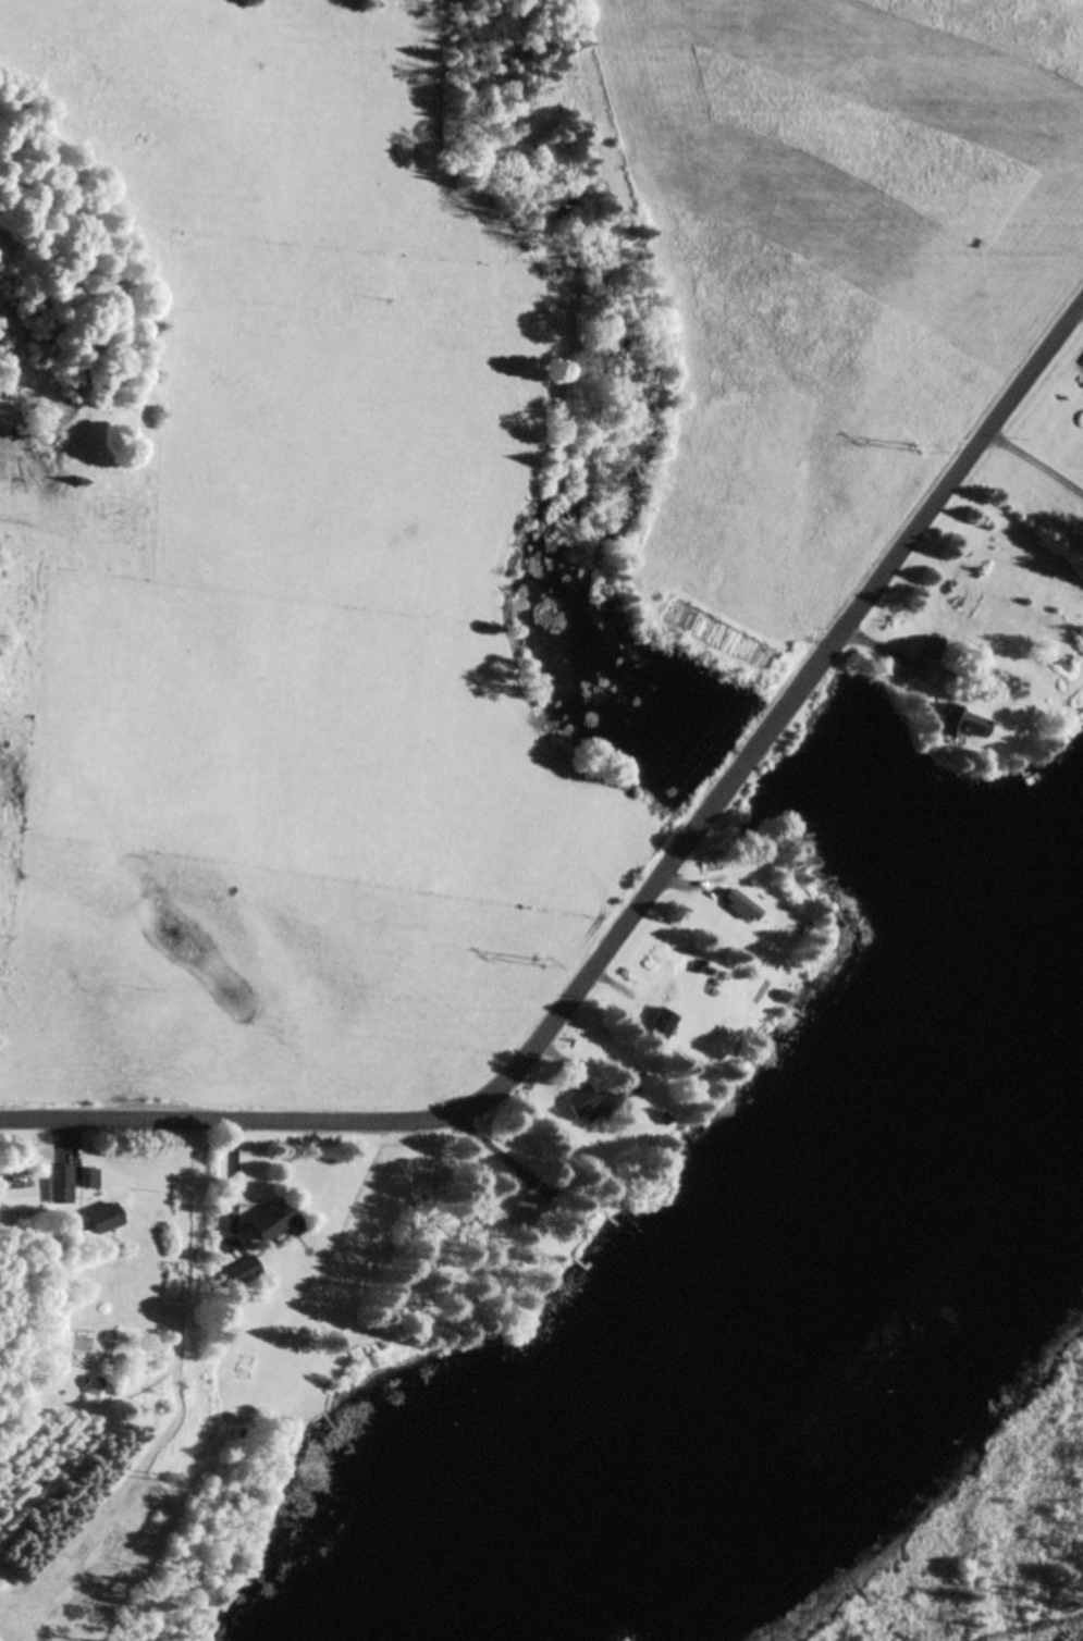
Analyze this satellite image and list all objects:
power tower: (921, 453)
building: (970, 727)
road: (639, 901)
building: (741, 909)
power tower: (538, 965)
building: (662, 1024)
building: (625, 1086)
building: (582, 1102)
building: (93, 1180)
building: (61, 1186)
building: (17, 1200)
building: (426, 1207)
building: (531, 1207)
building: (106, 1220)
building: (275, 1223)
building: (242, 1273)
river: (785, 1309)
building: (95, 1387)
power tower: (160, 1479)

